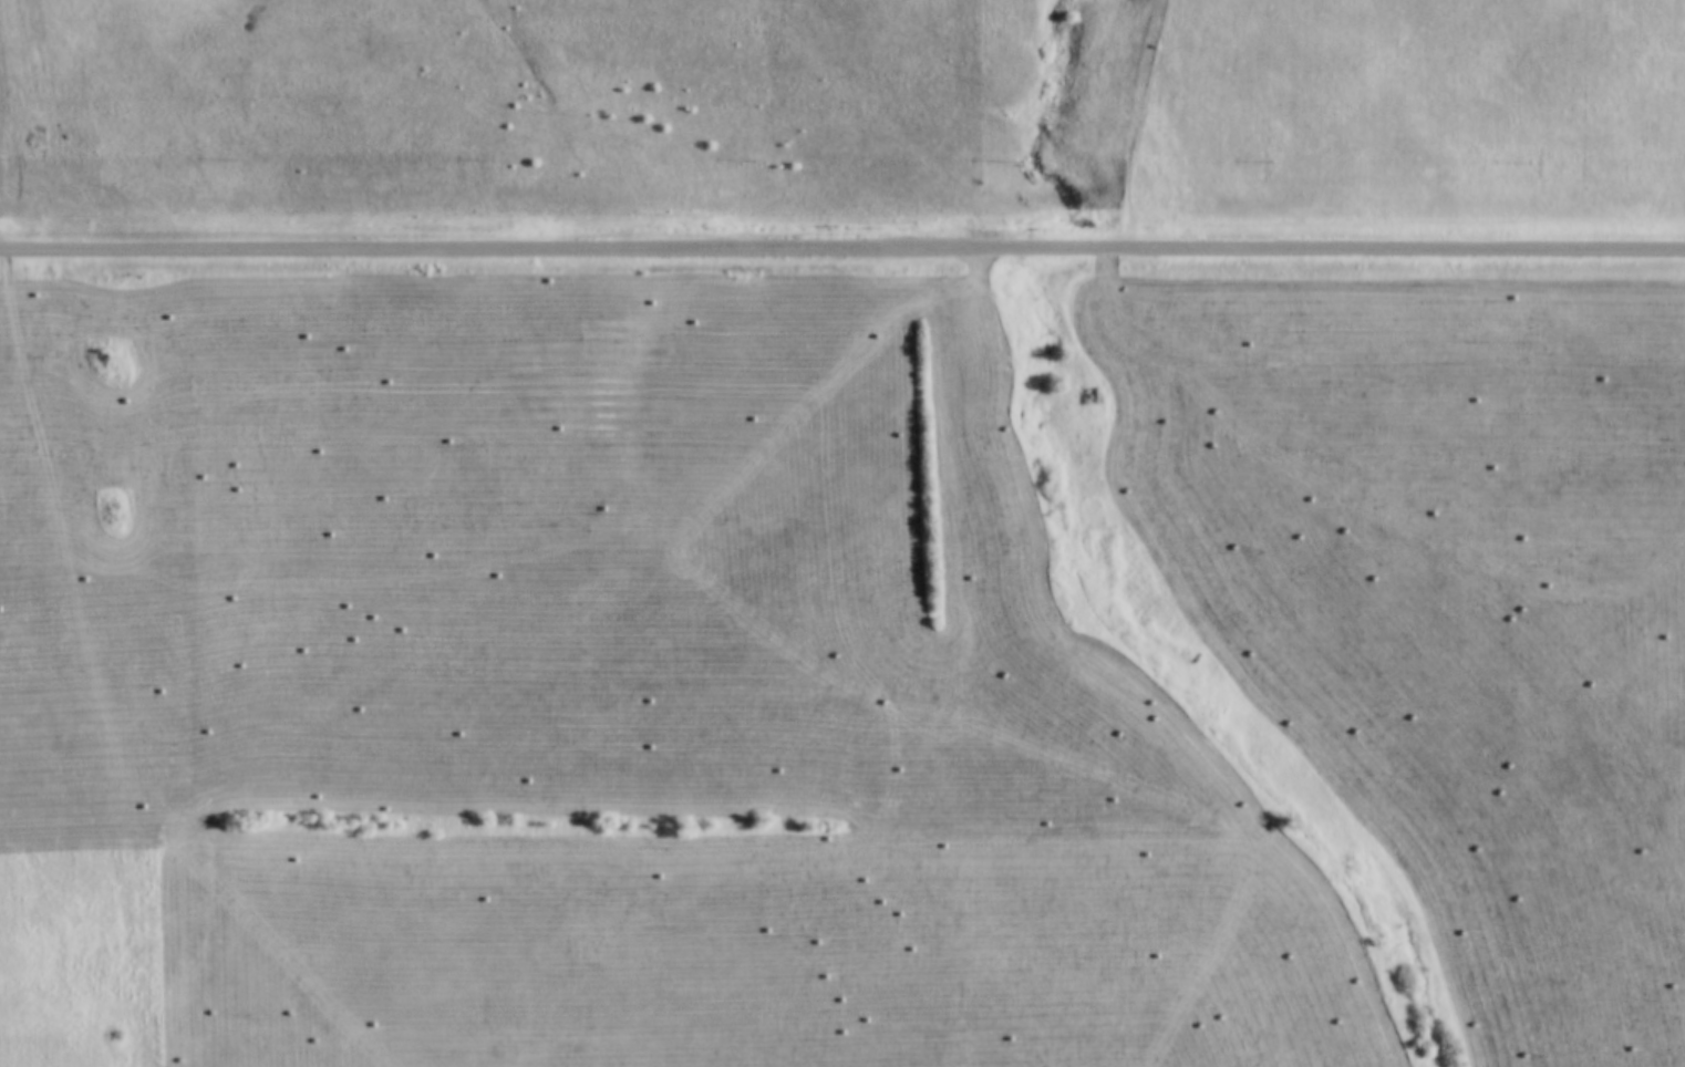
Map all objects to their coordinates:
road: (842, 239)
building: (902, 423)
building: (639, 1048)

